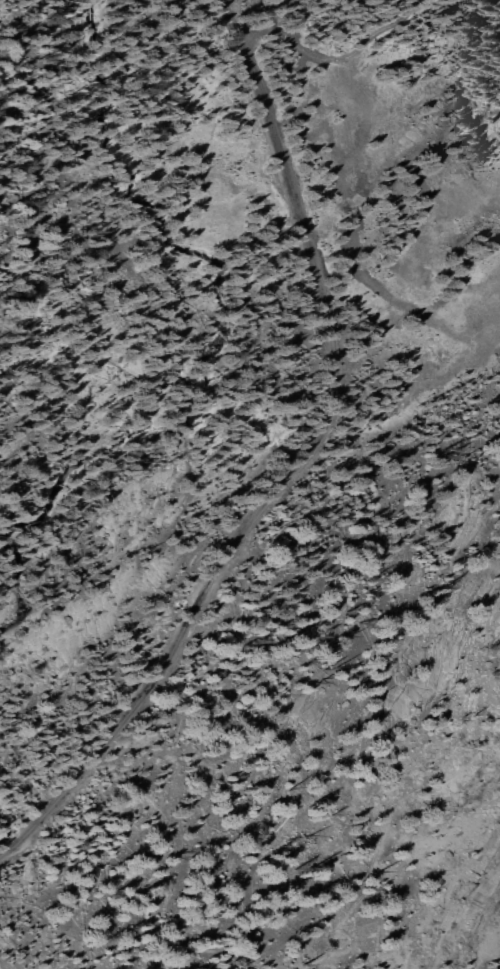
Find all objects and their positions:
road: (325, 58)
road: (295, 464)
road: (361, 724)

